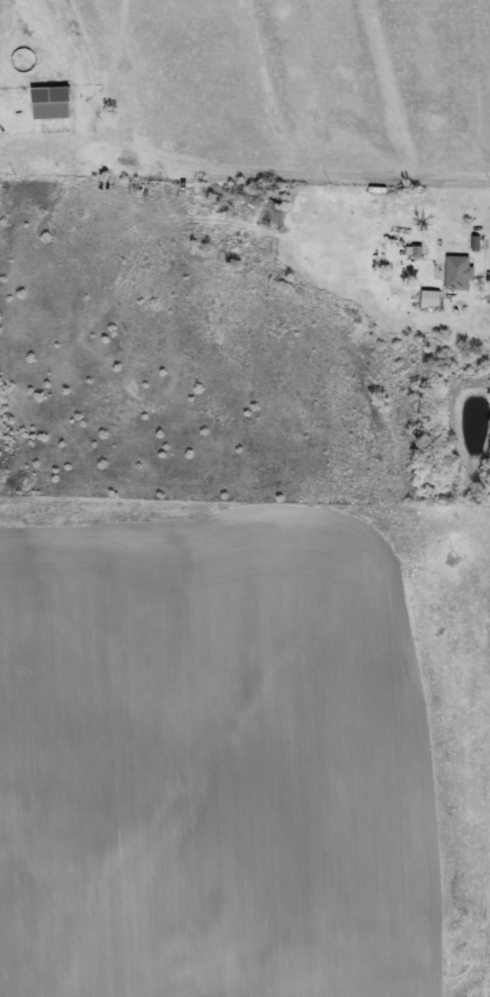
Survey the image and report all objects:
building: (46, 102)
building: (446, 199)
building: (455, 272)
building: (427, 298)
railway: (245, 909)

